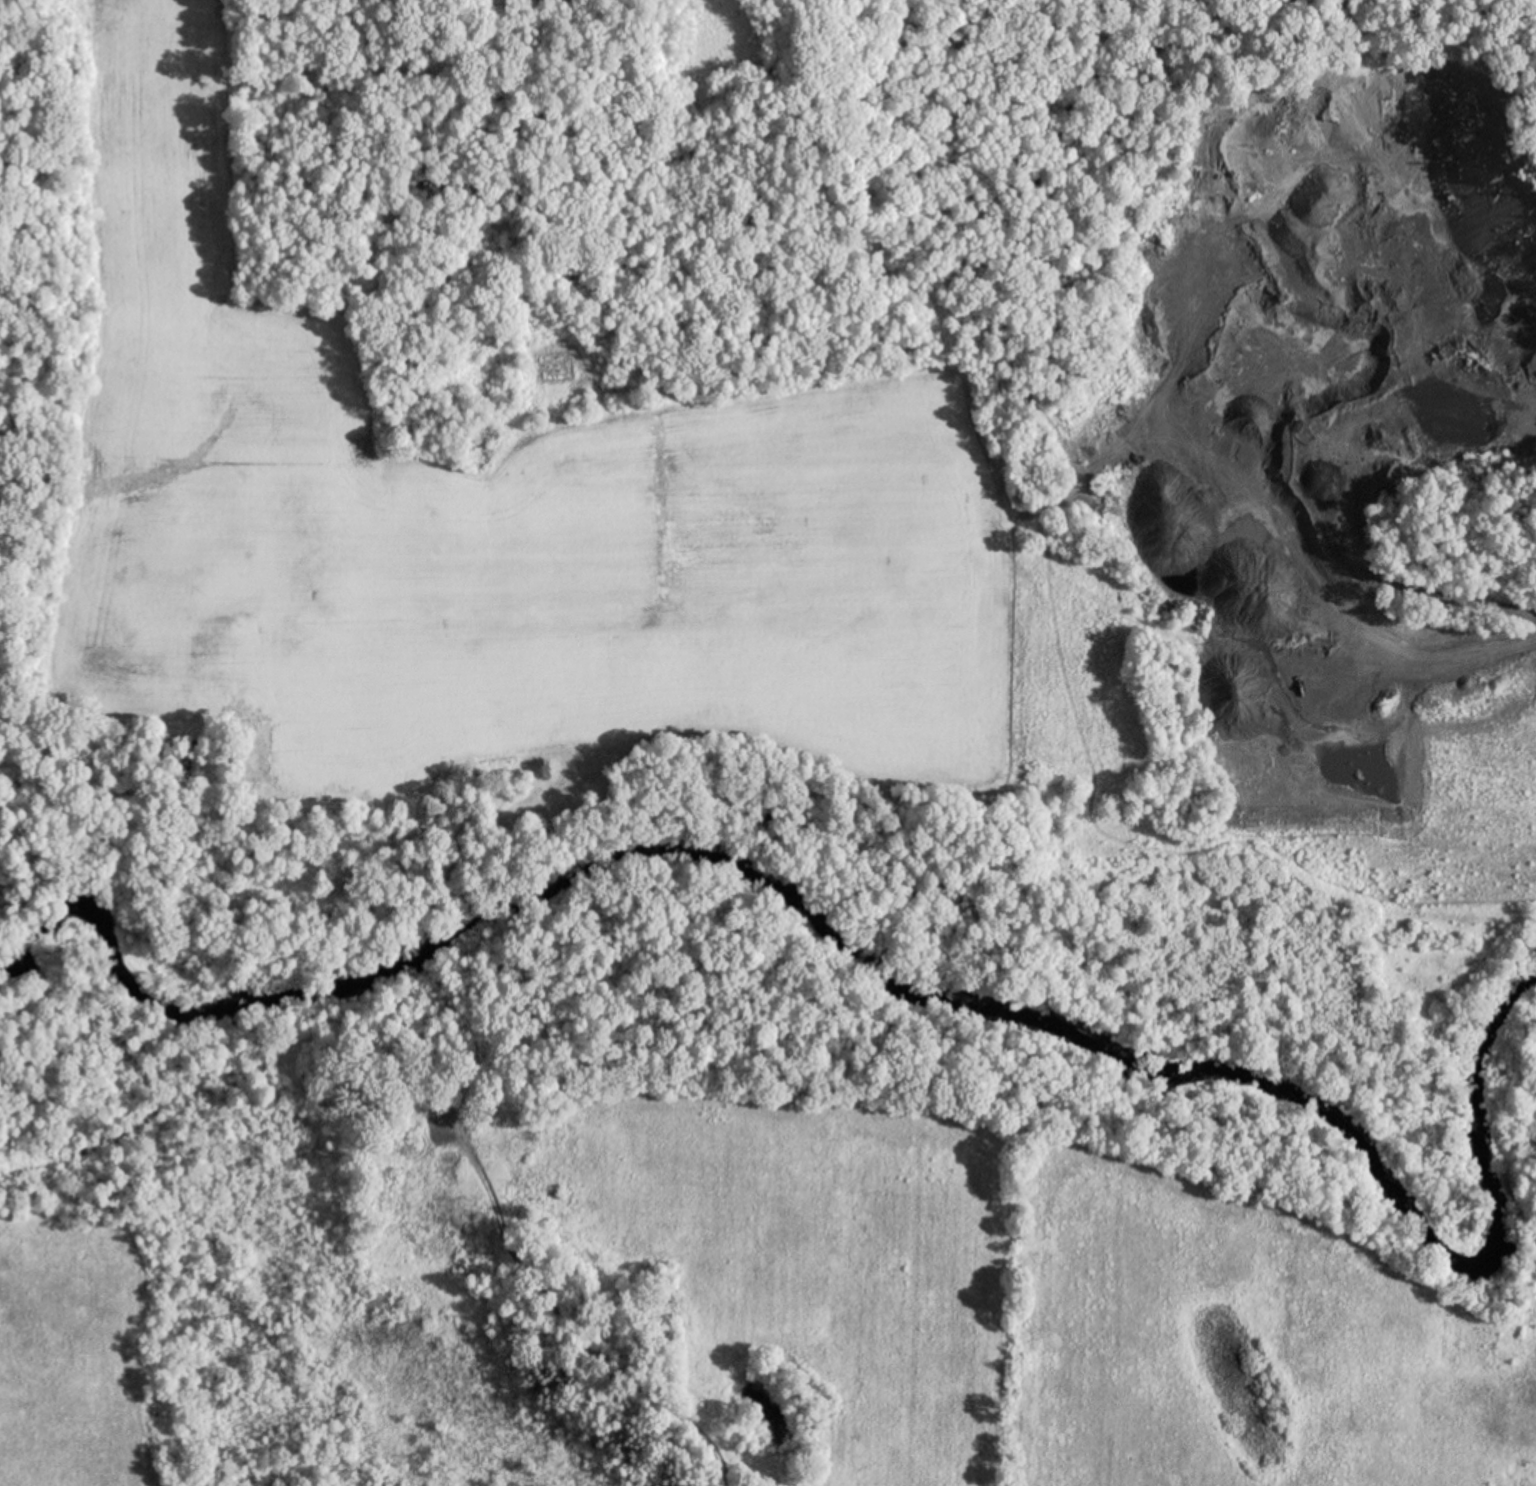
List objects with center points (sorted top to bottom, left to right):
quarry: (1301, 344)
road: (991, 792)
river: (794, 918)

